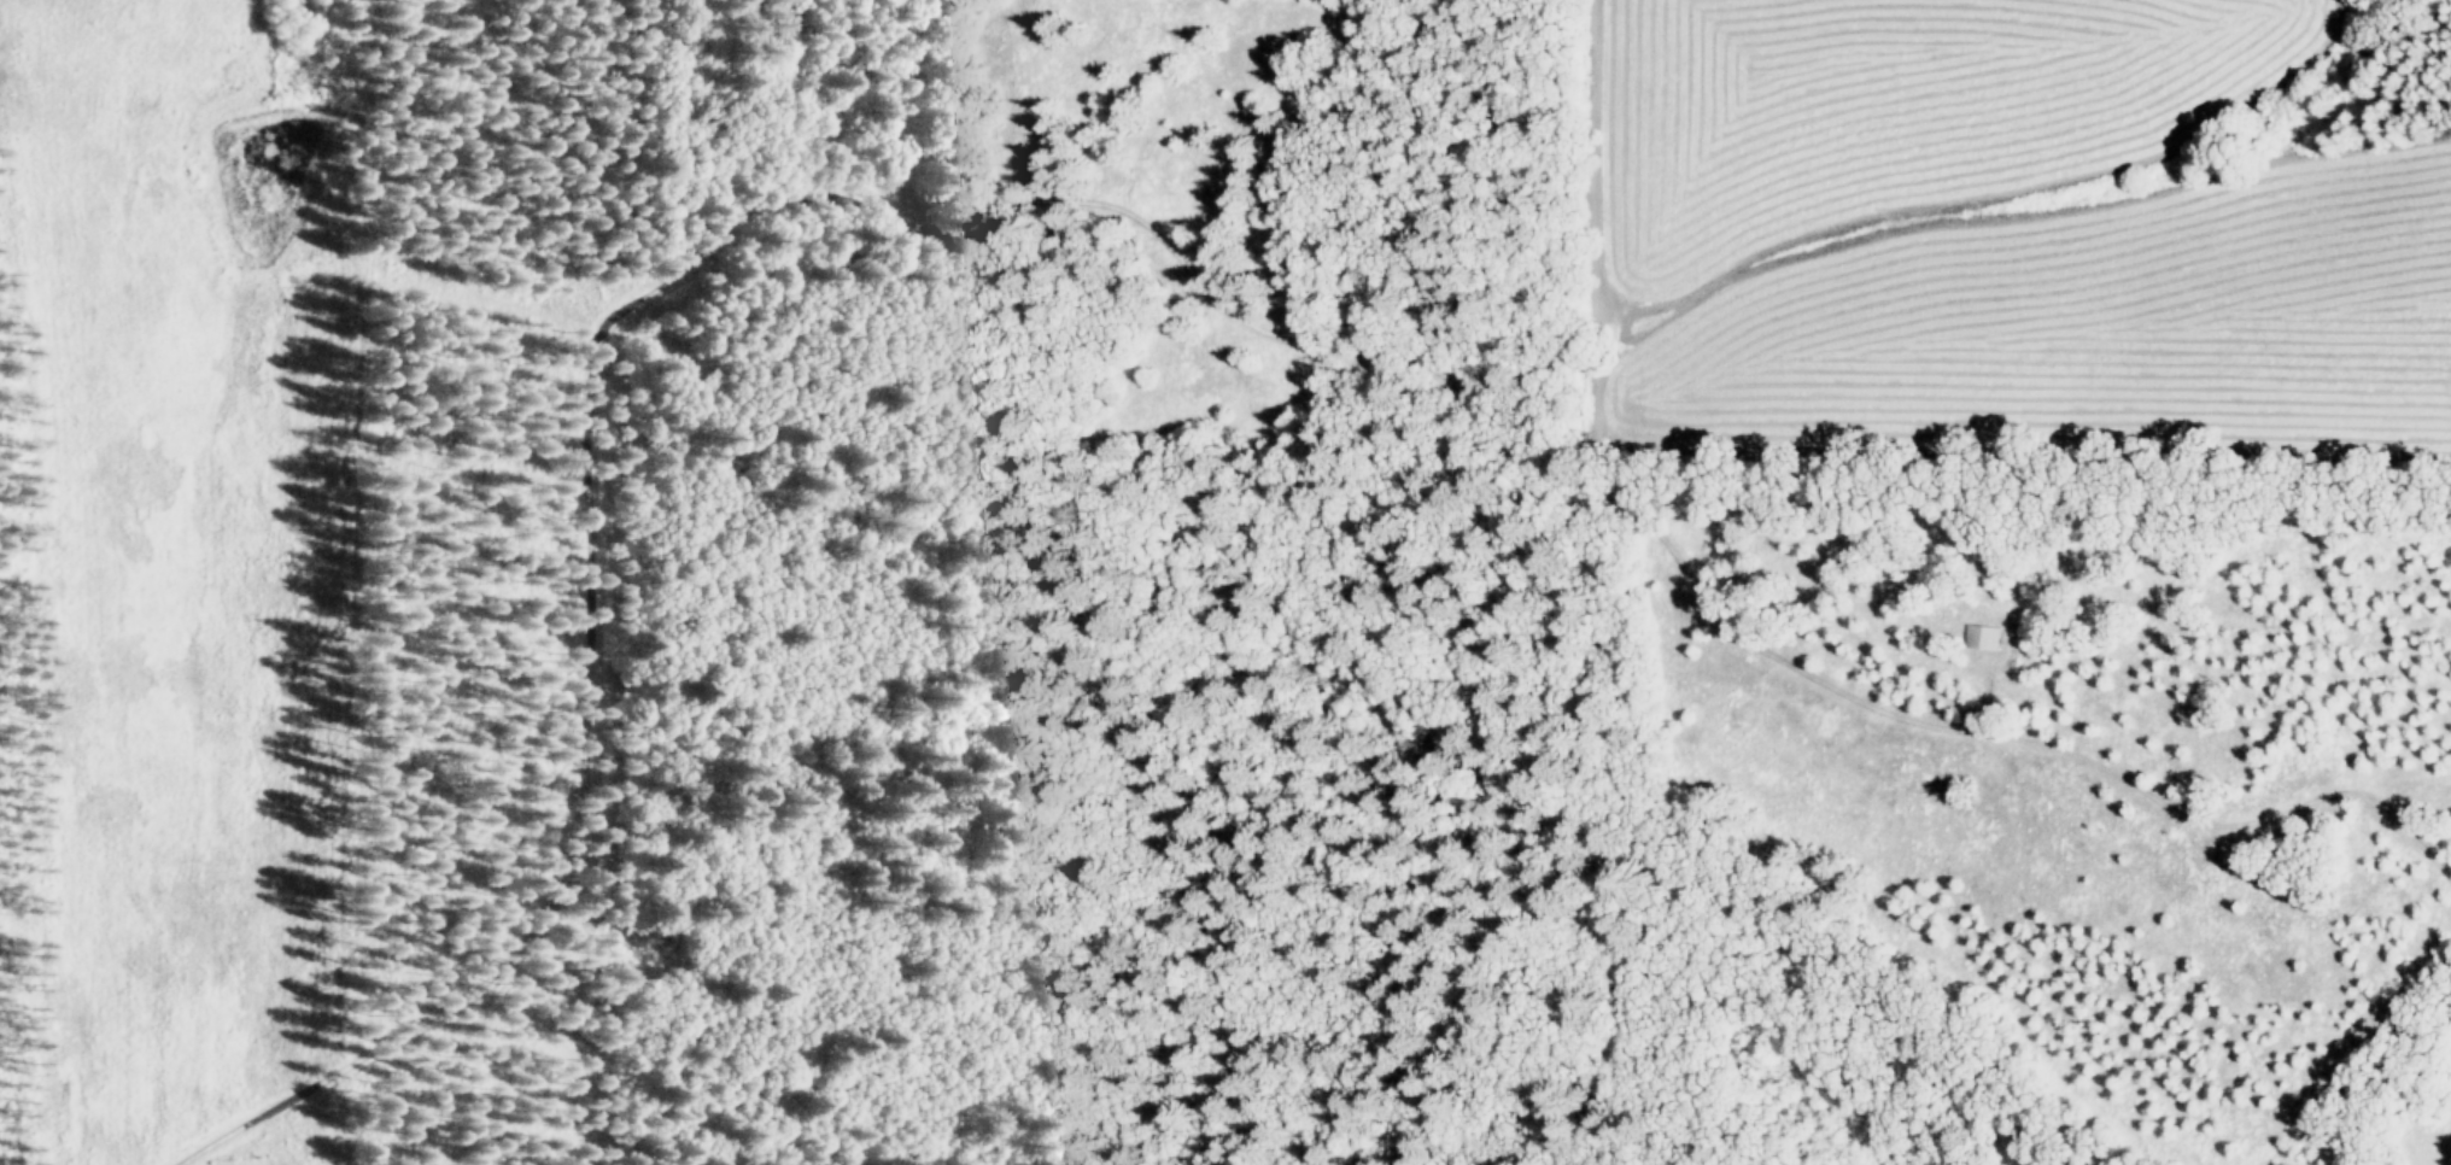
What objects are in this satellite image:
building: (1985, 561)
building: (1984, 638)

